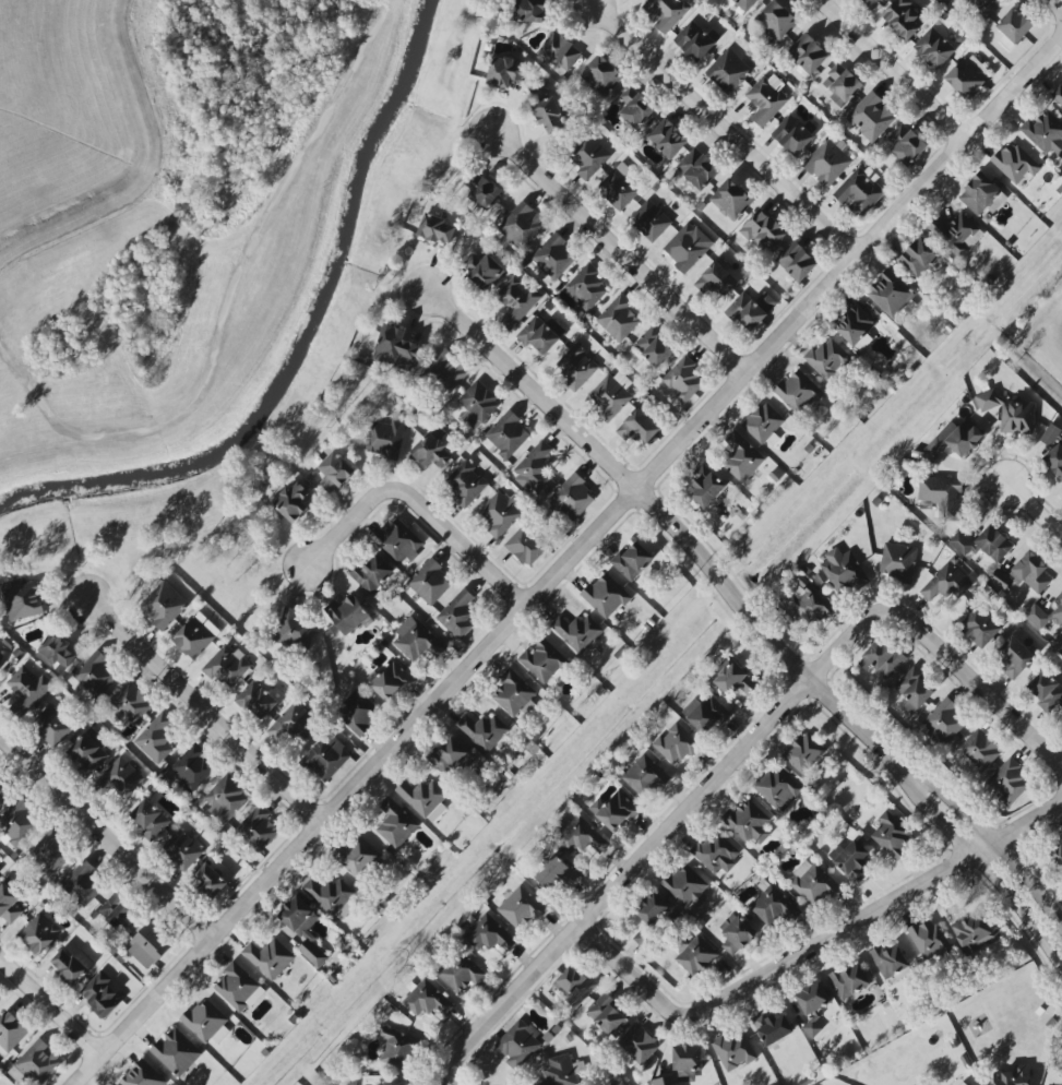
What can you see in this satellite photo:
building: (872, 3)
building: (745, 4)
building: (985, 7)
road: (1057, 9)
building: (529, 10)
building: (666, 12)
building: (903, 19)
building: (775, 21)
building: (1013, 28)
building: (695, 39)
building: (933, 48)
building: (559, 51)
building: (808, 55)
road: (892, 68)
building: (728, 71)
building: (503, 72)
building: (601, 75)
building: (967, 79)
building: (843, 83)
building: (1058, 95)
building: (766, 99)
building: (635, 106)
building: (550, 115)
building: (871, 117)
road: (719, 128)
building: (1043, 133)
building: (792, 134)
building: (668, 138)
building: (906, 144)
building: (588, 156)
building: (826, 163)
building: (1014, 163)
building: (697, 168)
building: (619, 187)
building: (859, 191)
building: (486, 193)
building: (979, 193)
building: (730, 200)
building: (649, 219)
building: (522, 225)
building: (437, 230)
building: (763, 230)
building: (956, 234)
building: (687, 247)
road: (617, 250)
building: (920, 257)
building: (797, 262)
building: (482, 271)
building: (718, 279)
building: (586, 287)
building: (891, 295)
building: (516, 300)
building: (751, 309)
building: (618, 318)
building: (856, 324)
building: (540, 334)
building: (654, 346)
building: (395, 348)
building: (827, 358)
building: (575, 367)
building: (445, 372)
building: (683, 379)
road: (529, 388)
building: (798, 392)
building: (610, 395)
building: (477, 405)
building: (1010, 413)
building: (764, 424)
building: (639, 427)
building: (506, 434)
building: (386, 438)
building: (954, 440)
building: (431, 453)
building: (1052, 453)
building: (741, 457)
building: (534, 467)
building: (335, 472)
building: (466, 484)
building: (705, 486)
building: (942, 494)
building: (572, 499)
building: (294, 502)
road: (413, 502)
road: (1033, 511)
building: (500, 514)
road: (670, 525)
building: (397, 541)
building: (962, 544)
building: (993, 544)
building: (525, 546)
road: (569, 555)
building: (632, 561)
building: (897, 562)
building: (843, 571)
building: (372, 574)
building: (1024, 574)
building: (430, 582)
building: (946, 583)
road: (729, 591)
building: (605, 596)
building: (23, 600)
building: (808, 604)
building: (163, 605)
building: (1046, 613)
building: (347, 615)
building: (457, 615)
building: (979, 627)
building: (294, 629)
building: (576, 632)
building: (193, 637)
building: (417, 640)
building: (1061, 649)
building: (56, 652)
building: (1014, 657)
building: (881, 658)
building: (0, 661)
building: (542, 661)
building: (227, 666)
building: (95, 673)
building: (735, 680)
building: (392, 681)
road: (977, 685)
building: (26, 689)
building: (914, 690)
building: (1046, 690)
building: (513, 693)
building: (256, 700)
road: (830, 700)
building: (130, 704)
road: (204, 711)
building: (357, 713)
building: (706, 713)
building: (1061, 719)
building: (945, 722)
building: (294, 723)
building: (51, 726)
building: (484, 731)
building: (155, 738)
building: (675, 743)
building: (979, 750)
building: (88, 751)
building: (803, 752)
building: (326, 756)
building: (452, 759)
building: (192, 767)
building: (645, 776)
building: (119, 778)
building: (1007, 782)
building: (777, 788)
building: (2, 791)
building: (425, 798)
building: (226, 799)
building: (617, 811)
building: (150, 818)
building: (19, 822)
building: (747, 822)
building: (395, 823)
building: (258, 828)
building: (580, 835)
building: (892, 835)
road: (106, 838)
building: (1061, 838)
road: (656, 840)
road: (995, 842)
building: (181, 849)
building: (51, 853)
building: (716, 853)
building: (1058, 855)
building: (358, 856)
building: (854, 860)
building: (0, 871)
road: (988, 873)
building: (554, 874)
building: (812, 883)
building: (83, 884)
building: (683, 885)
building: (331, 896)
building: (9, 904)
building: (772, 905)
building: (521, 907)
building: (652, 909)
building: (118, 913)
building: (303, 929)
building: (972, 932)
building: (39, 933)
building: (488, 934)
building: (738, 935)
building: (928, 939)
road: (813, 945)
building: (148, 946)
building: (694, 954)
building: (269, 957)
building: (888, 961)
building: (71, 965)
building: (461, 971)
building: (849, 980)
building: (574, 985)
building: (238, 988)
building: (102, 993)
building: (812, 998)
building: (427, 1000)
road: (52, 1003)
building: (606, 1014)
building: (206, 1023)
building: (773, 1026)
building: (812, 1026)
building: (10, 1030)
building: (518, 1042)
building: (637, 1044)
building: (397, 1048)
building: (733, 1050)
building: (176, 1052)
building: (683, 1065)
building: (559, 1072)
building: (142, 1075)
building: (1014, 1076)
building: (404, 1083)
building: (963, 1083)

